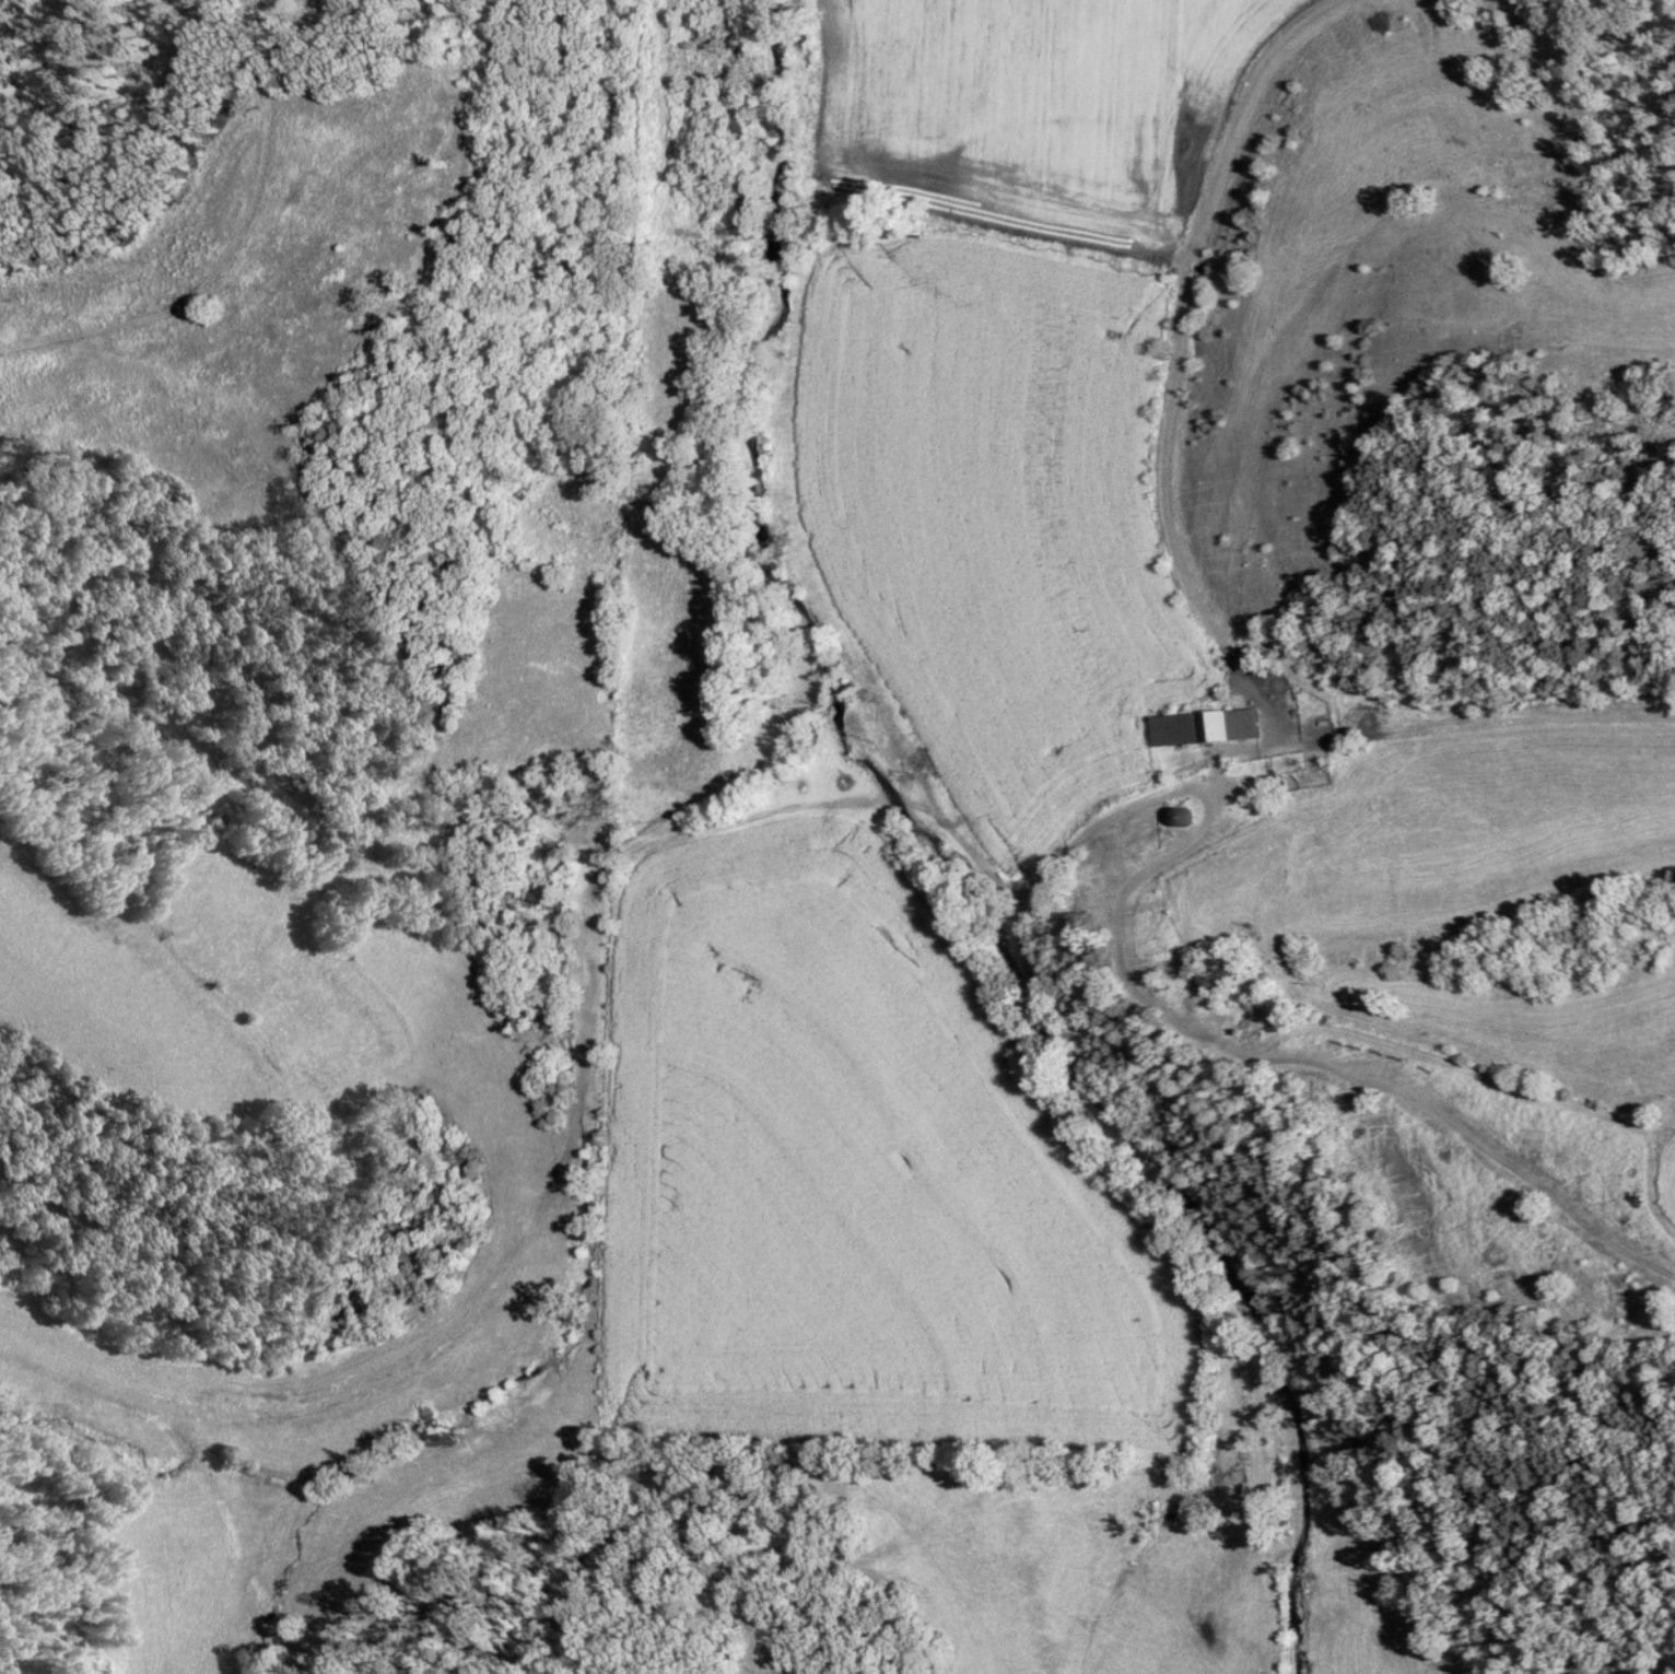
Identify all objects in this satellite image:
building: (1206, 727)
building: (1180, 817)
building: (1220, 972)
road: (1288, 1061)

